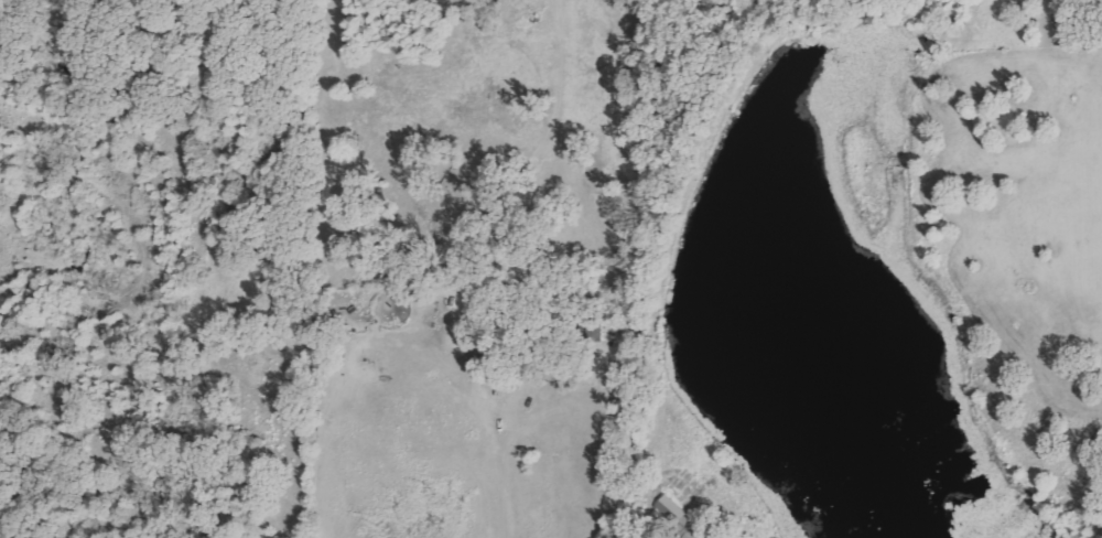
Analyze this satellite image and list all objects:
building: (1058, 22)
road: (509, 469)
building: (678, 515)

